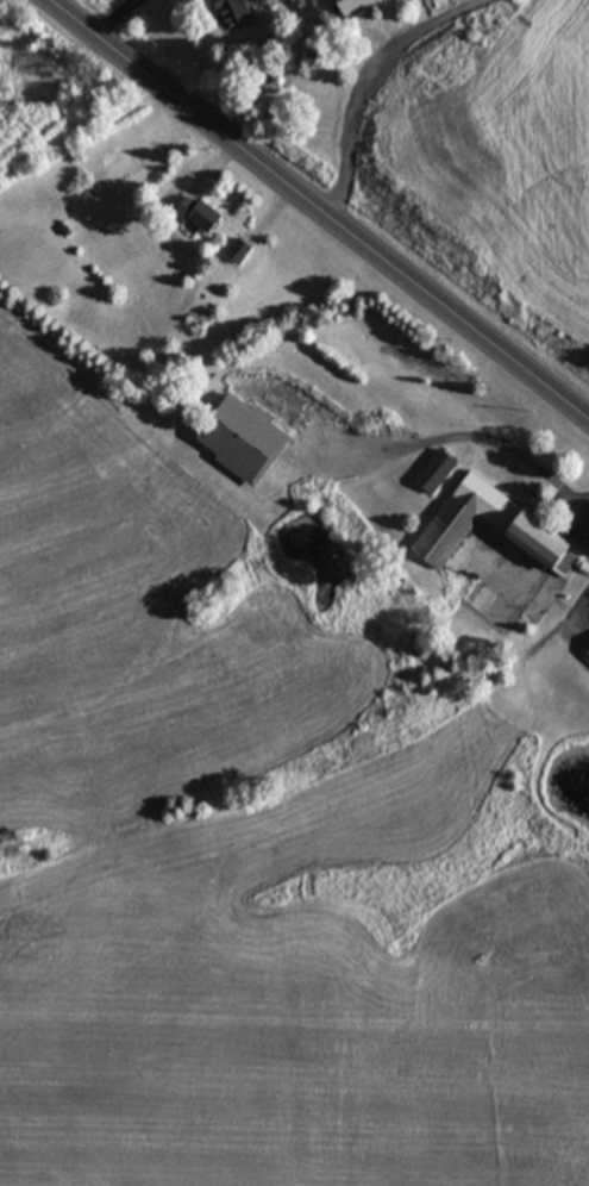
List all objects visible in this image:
building: (353, 5)
building: (232, 12)
road: (347, 110)
road: (317, 211)
building: (196, 213)
building: (237, 249)

